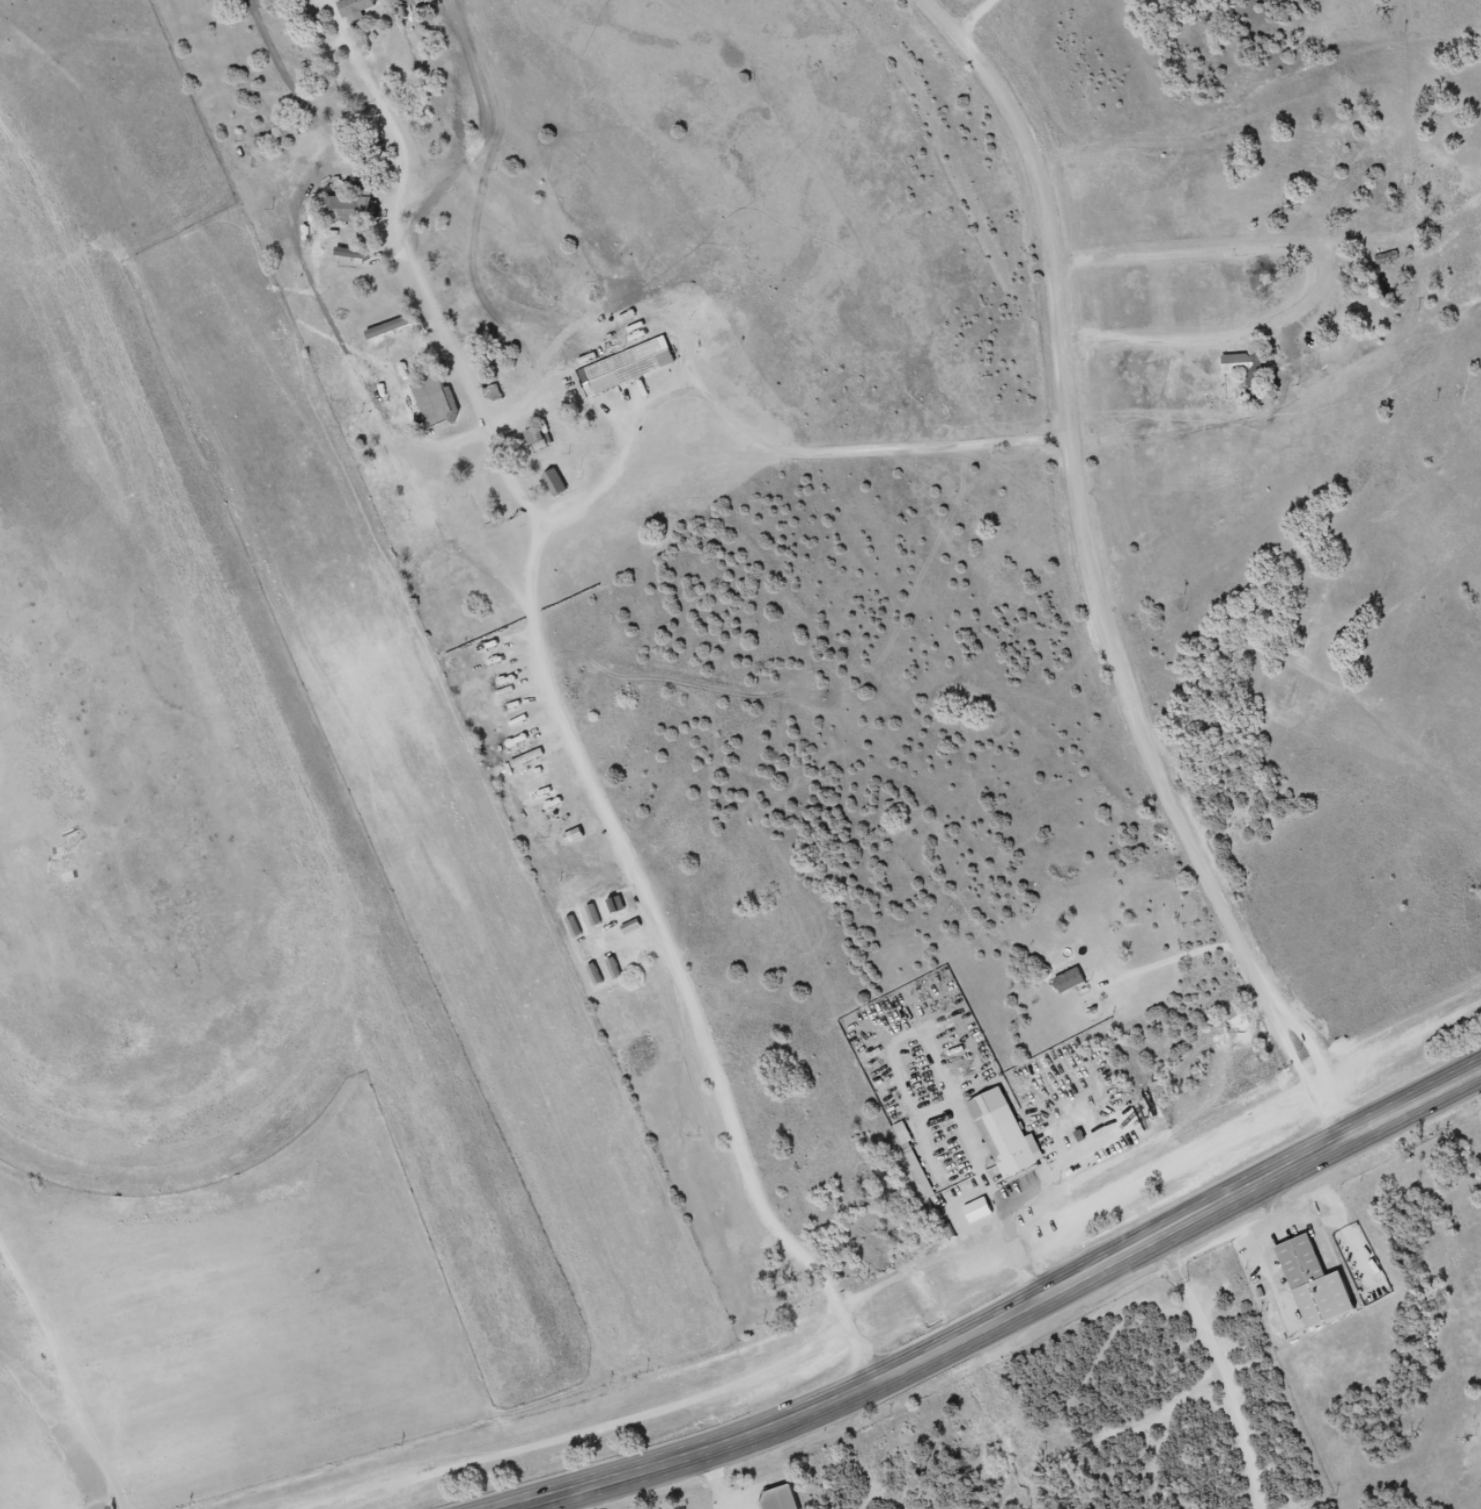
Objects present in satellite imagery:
road: (987, 19)
building: (622, 367)
building: (1247, 368)
building: (533, 485)
road: (1098, 578)
building: (499, 706)
track: (127, 770)
road: (675, 965)
building: (1072, 981)
building: (1158, 1113)
building: (1010, 1139)
building: (1321, 1292)
road: (1014, 1313)
road: (1230, 1366)
road: (23, 1385)
road: (50, 1415)
road: (872, 1450)
building: (786, 1502)

